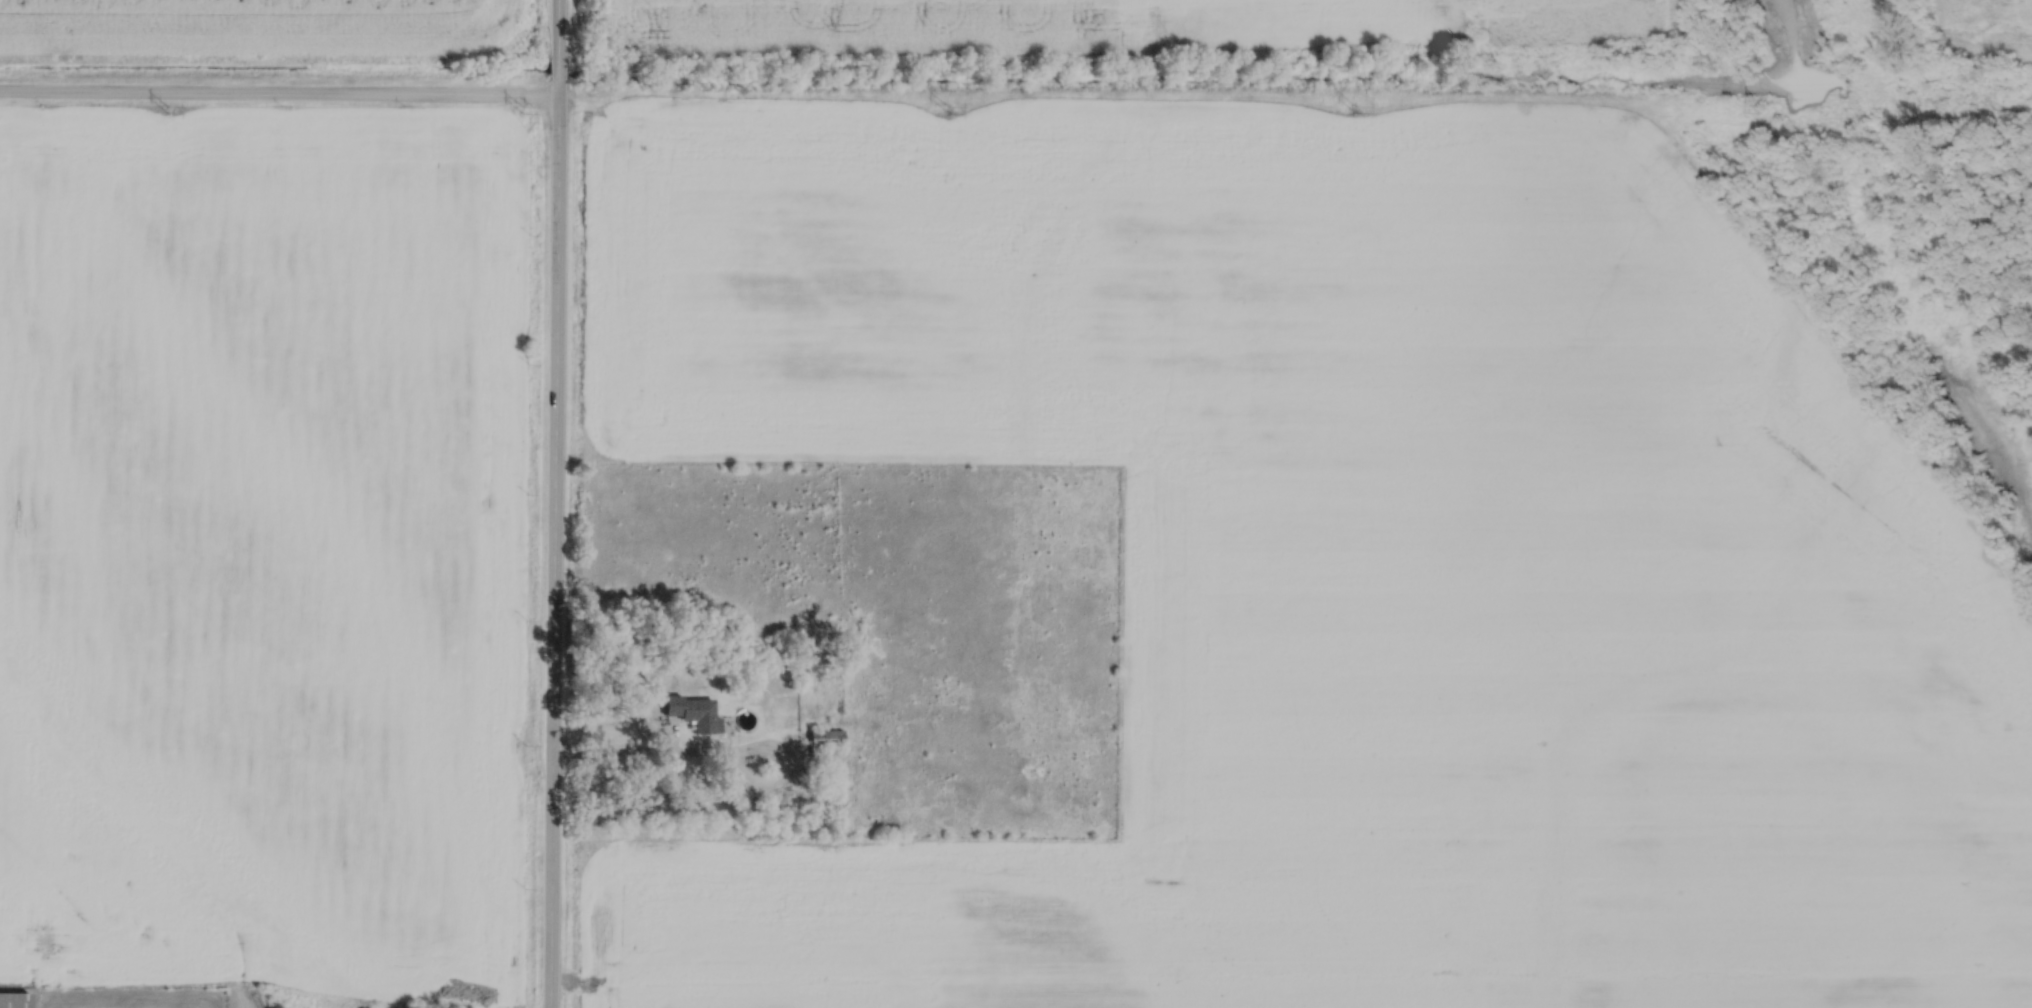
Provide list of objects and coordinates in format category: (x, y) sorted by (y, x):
road: (557, 27)
road: (558, 70)
road: (279, 90)
power tower: (1355, 108)
power tower: (1762, 108)
power tower: (167, 109)
power tower: (950, 111)
power tower: (523, 114)
road: (553, 546)
building: (693, 712)
building: (827, 738)
road: (719, 750)
building: (14, 1001)

